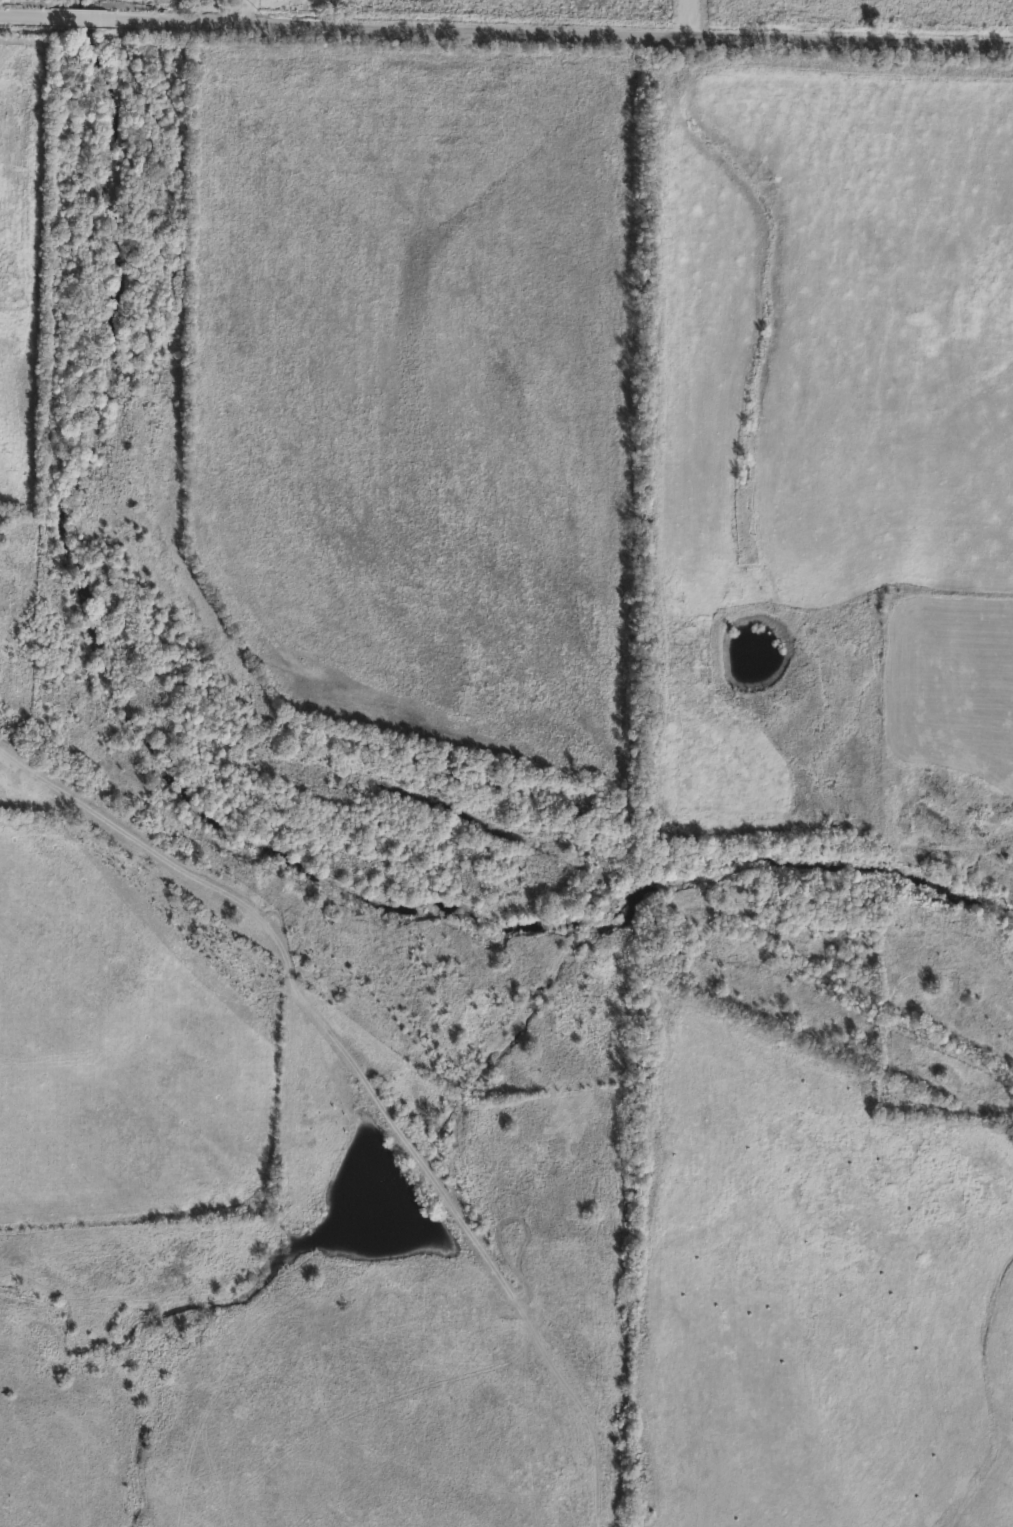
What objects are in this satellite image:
road: (689, 17)
road: (506, 28)

